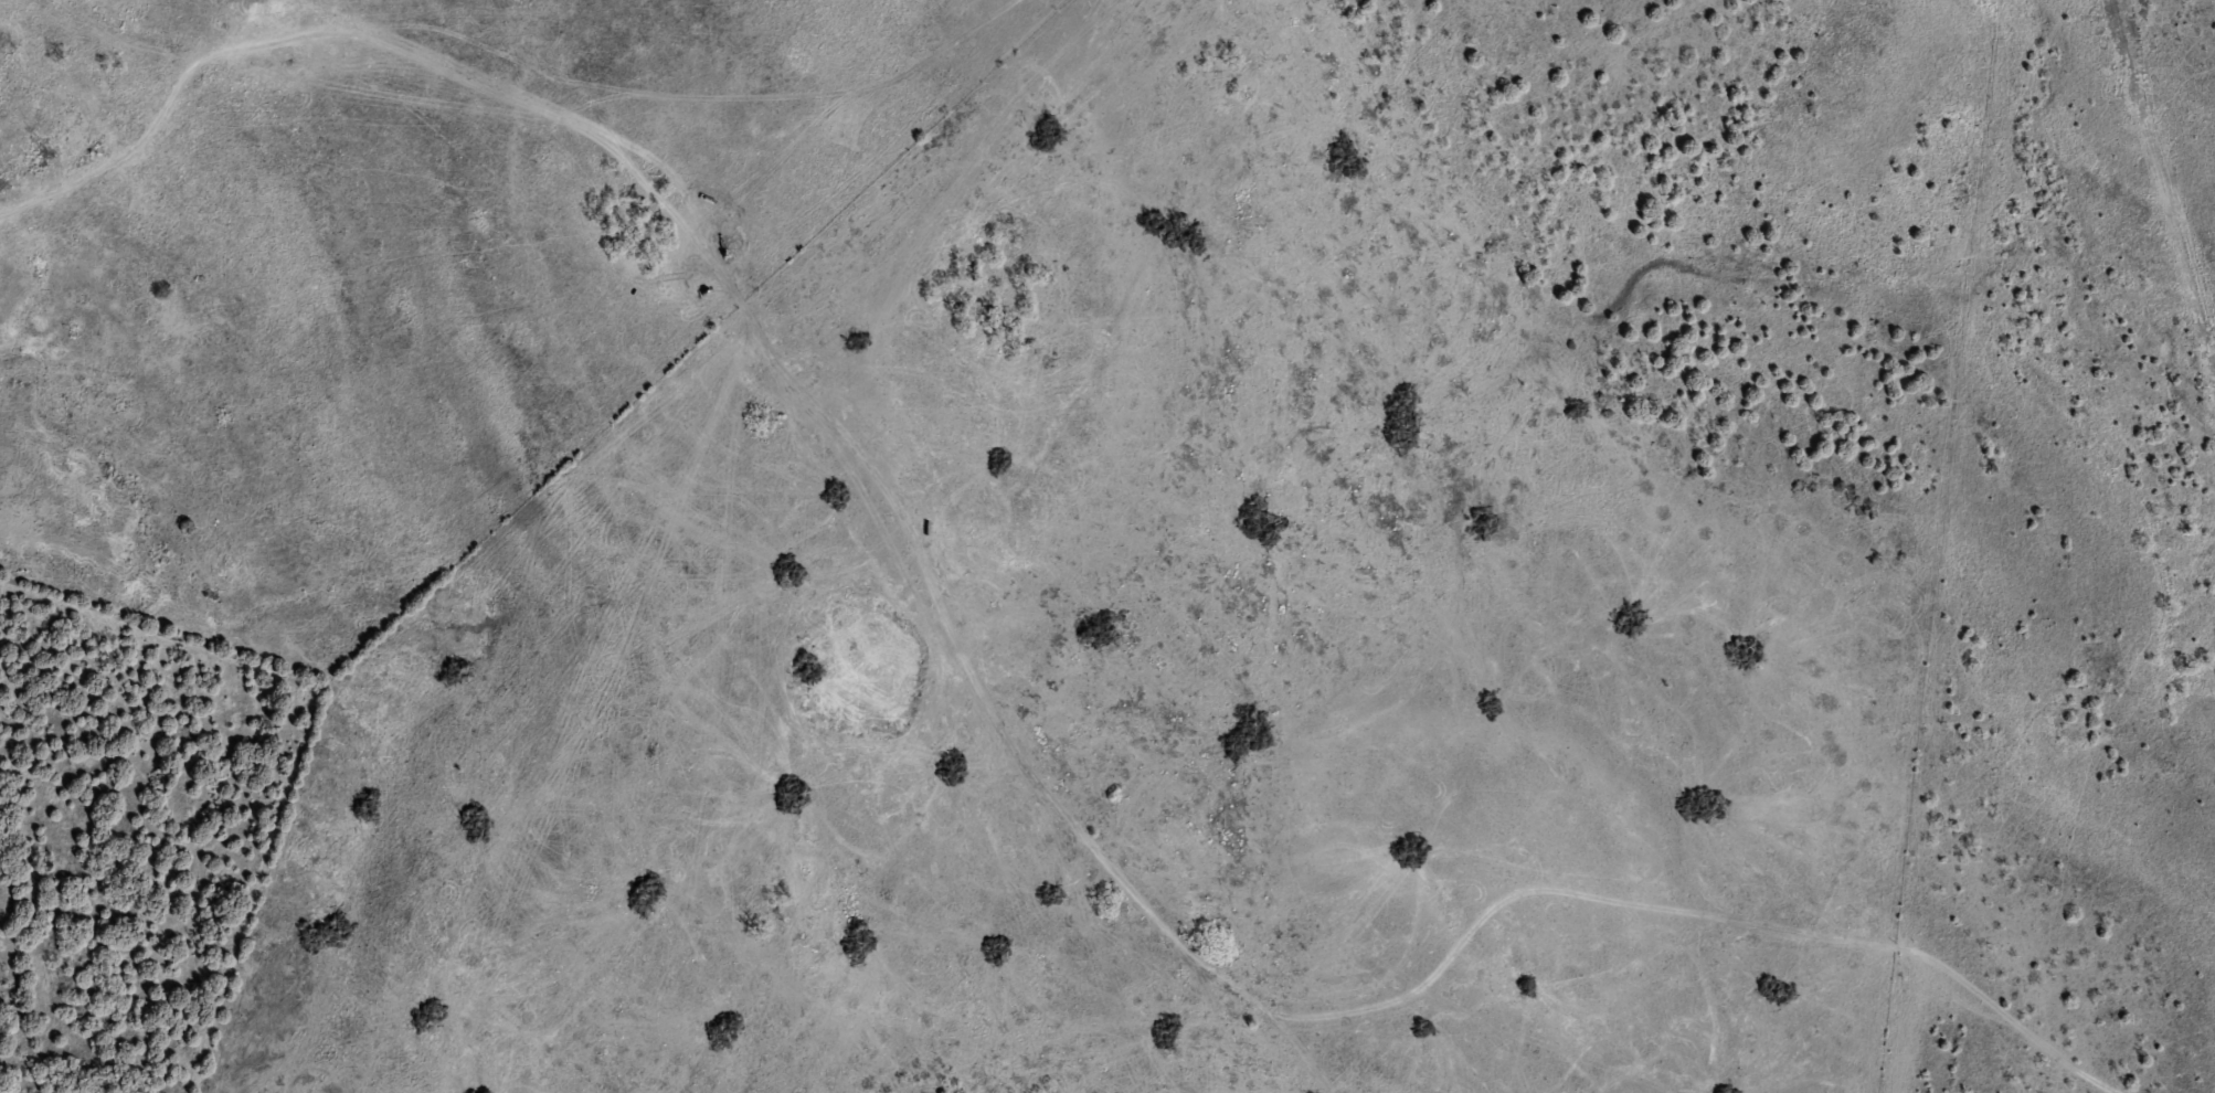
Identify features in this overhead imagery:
road: (202, 177)

